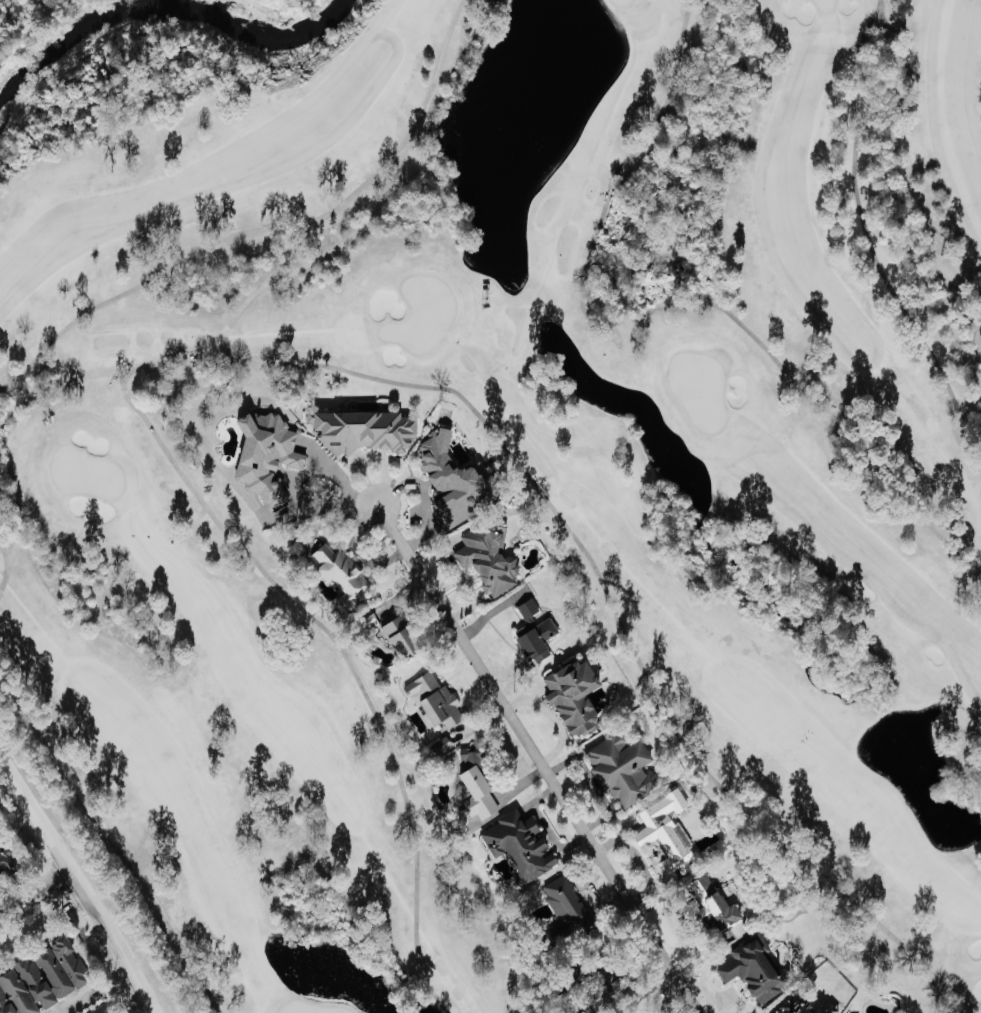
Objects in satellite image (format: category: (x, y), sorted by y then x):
park: (620, 2)
park: (825, 3)
building: (495, 4)
road: (879, 15)
road: (881, 15)
river: (60, 30)
river: (270, 37)
road: (680, 129)
road: (692, 161)
road: (364, 223)
road: (269, 227)
road: (866, 234)
road: (287, 252)
road: (667, 305)
park: (423, 314)
road: (222, 331)
road: (205, 352)
road: (320, 365)
road: (102, 372)
road: (121, 372)
park: (698, 389)
road: (31, 393)
building: (362, 428)
building: (260, 445)
park: (507, 454)
park: (87, 474)
building: (451, 478)
road: (299, 482)
road: (10, 520)
road: (9, 553)
road: (12, 555)
building: (488, 555)
road: (7, 564)
building: (340, 573)
building: (368, 614)
building: (533, 630)
building: (402, 638)
building: (573, 693)
building: (434, 699)
road: (545, 758)
building: (621, 766)
building: (476, 782)
building: (664, 831)
road: (102, 833)
building: (519, 845)
building: (8, 859)
road: (81, 886)
road: (36, 887)
building: (712, 904)
building: (565, 909)
road: (42, 918)
building: (754, 968)
building: (43, 979)
building: (591, 979)
building: (827, 1000)
road: (74, 1001)
park: (301, 1008)
building: (107, 1009)

